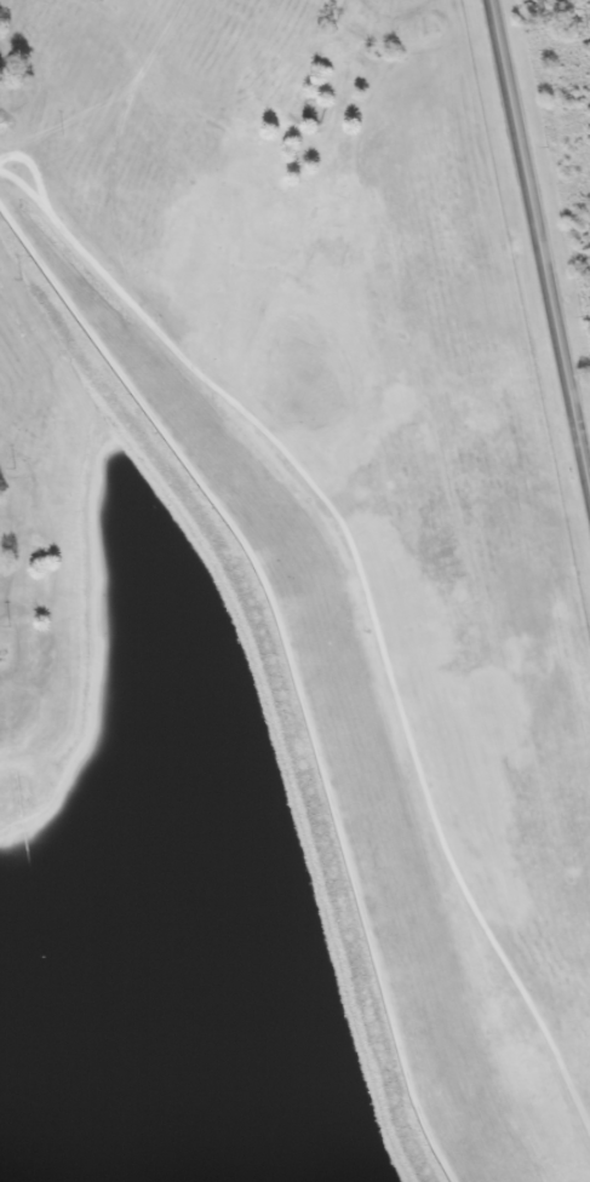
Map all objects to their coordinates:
road: (539, 254)
road: (569, 302)
road: (340, 540)

